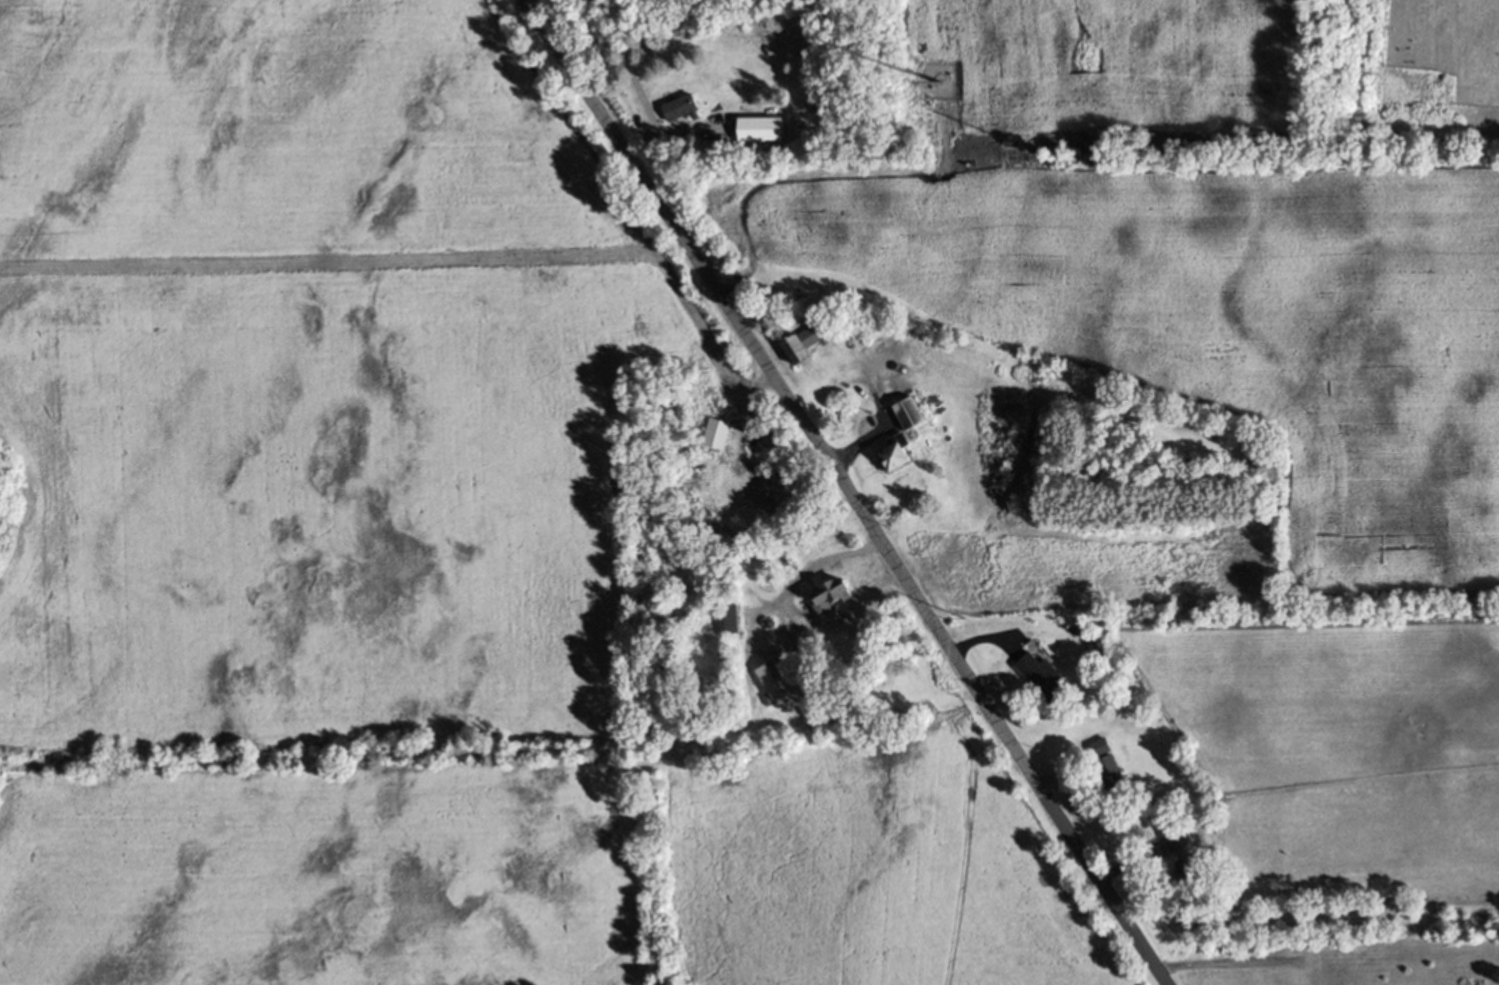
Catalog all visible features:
road: (563, 60)
building: (683, 111)
building: (762, 135)
road: (398, 255)
building: (804, 352)
crop: (1174, 371)
building: (914, 423)
building: (722, 437)
building: (902, 454)
road: (888, 551)
road: (810, 568)
building: (835, 597)
building: (736, 621)
building: (1100, 650)
building: (807, 656)
building: (1038, 675)
building: (780, 680)
building: (1108, 766)
building: (1175, 841)
park: (1320, 949)

